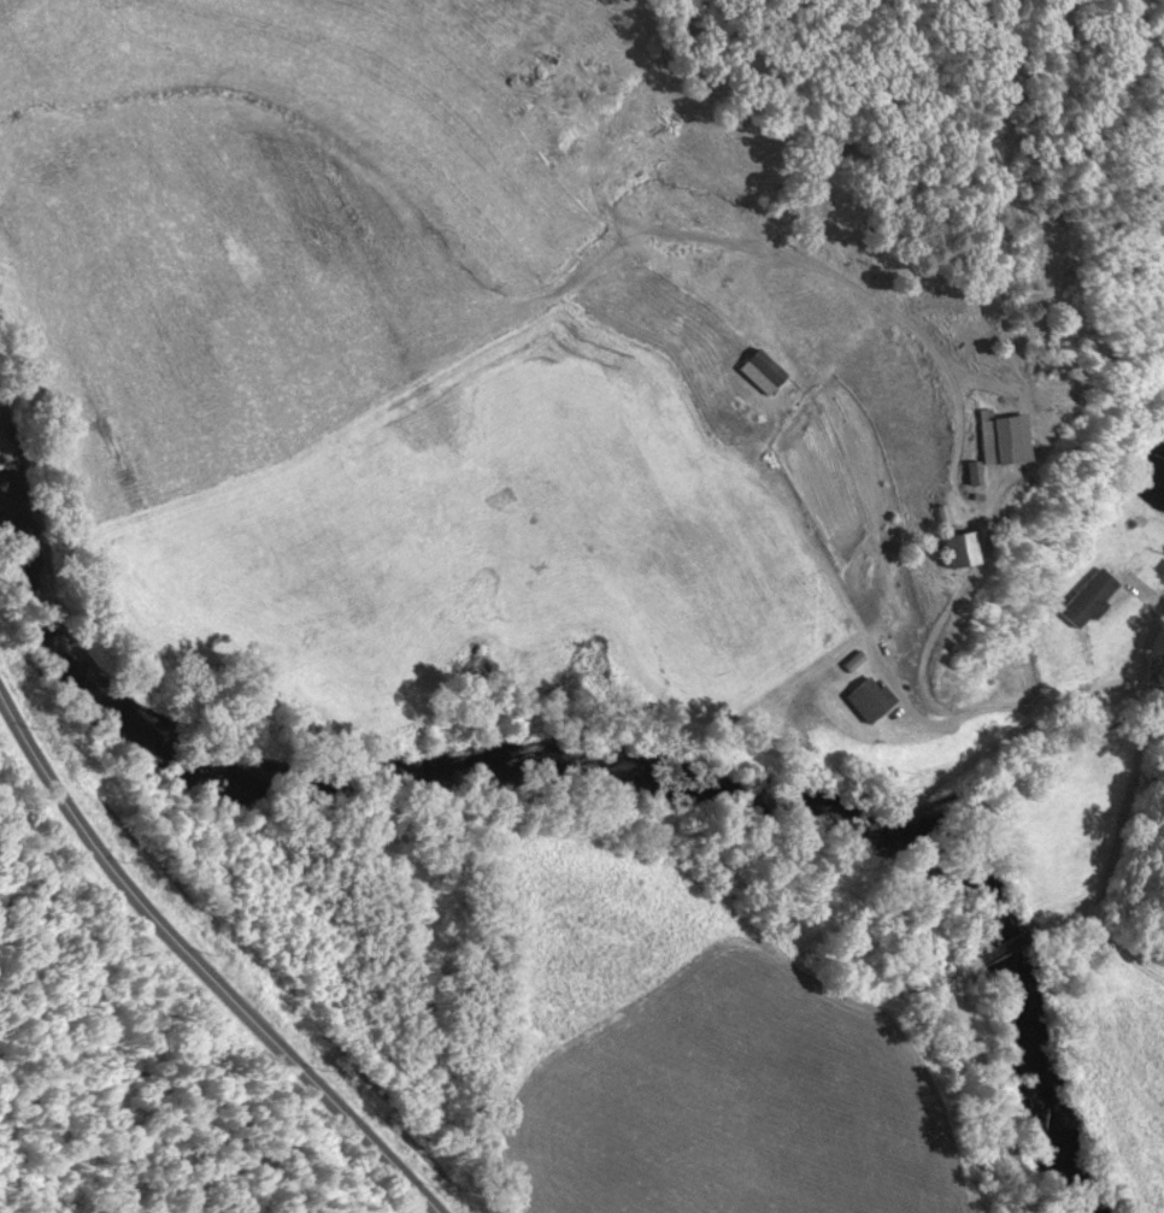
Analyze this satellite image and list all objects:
building: (758, 371)
building: (953, 548)
road: (1154, 658)
road: (1139, 685)
building: (865, 699)
river: (615, 769)
road: (999, 942)
road: (207, 965)
road: (974, 1082)

